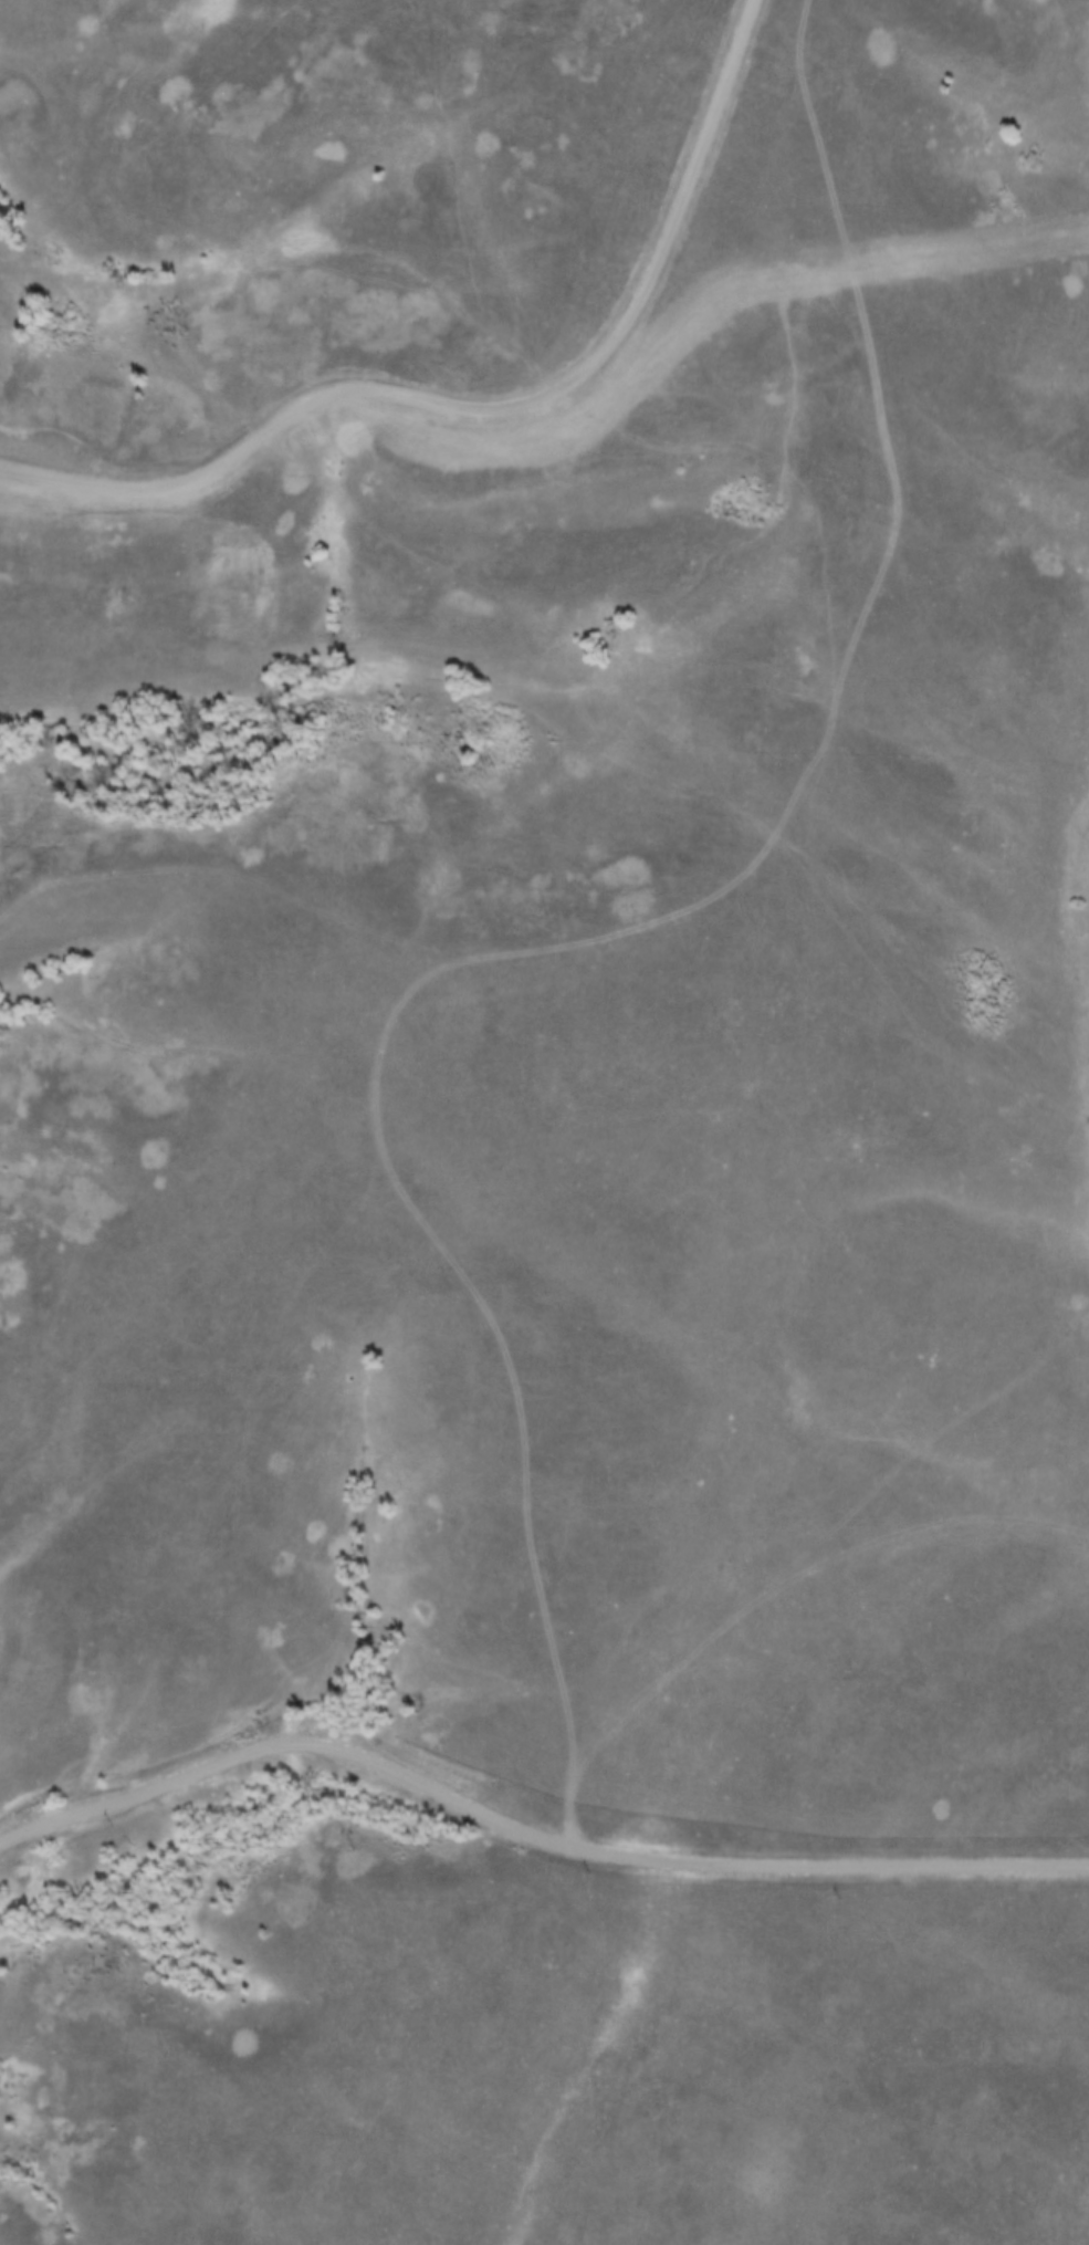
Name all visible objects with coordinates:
road: (489, 411)
road: (528, 1835)

